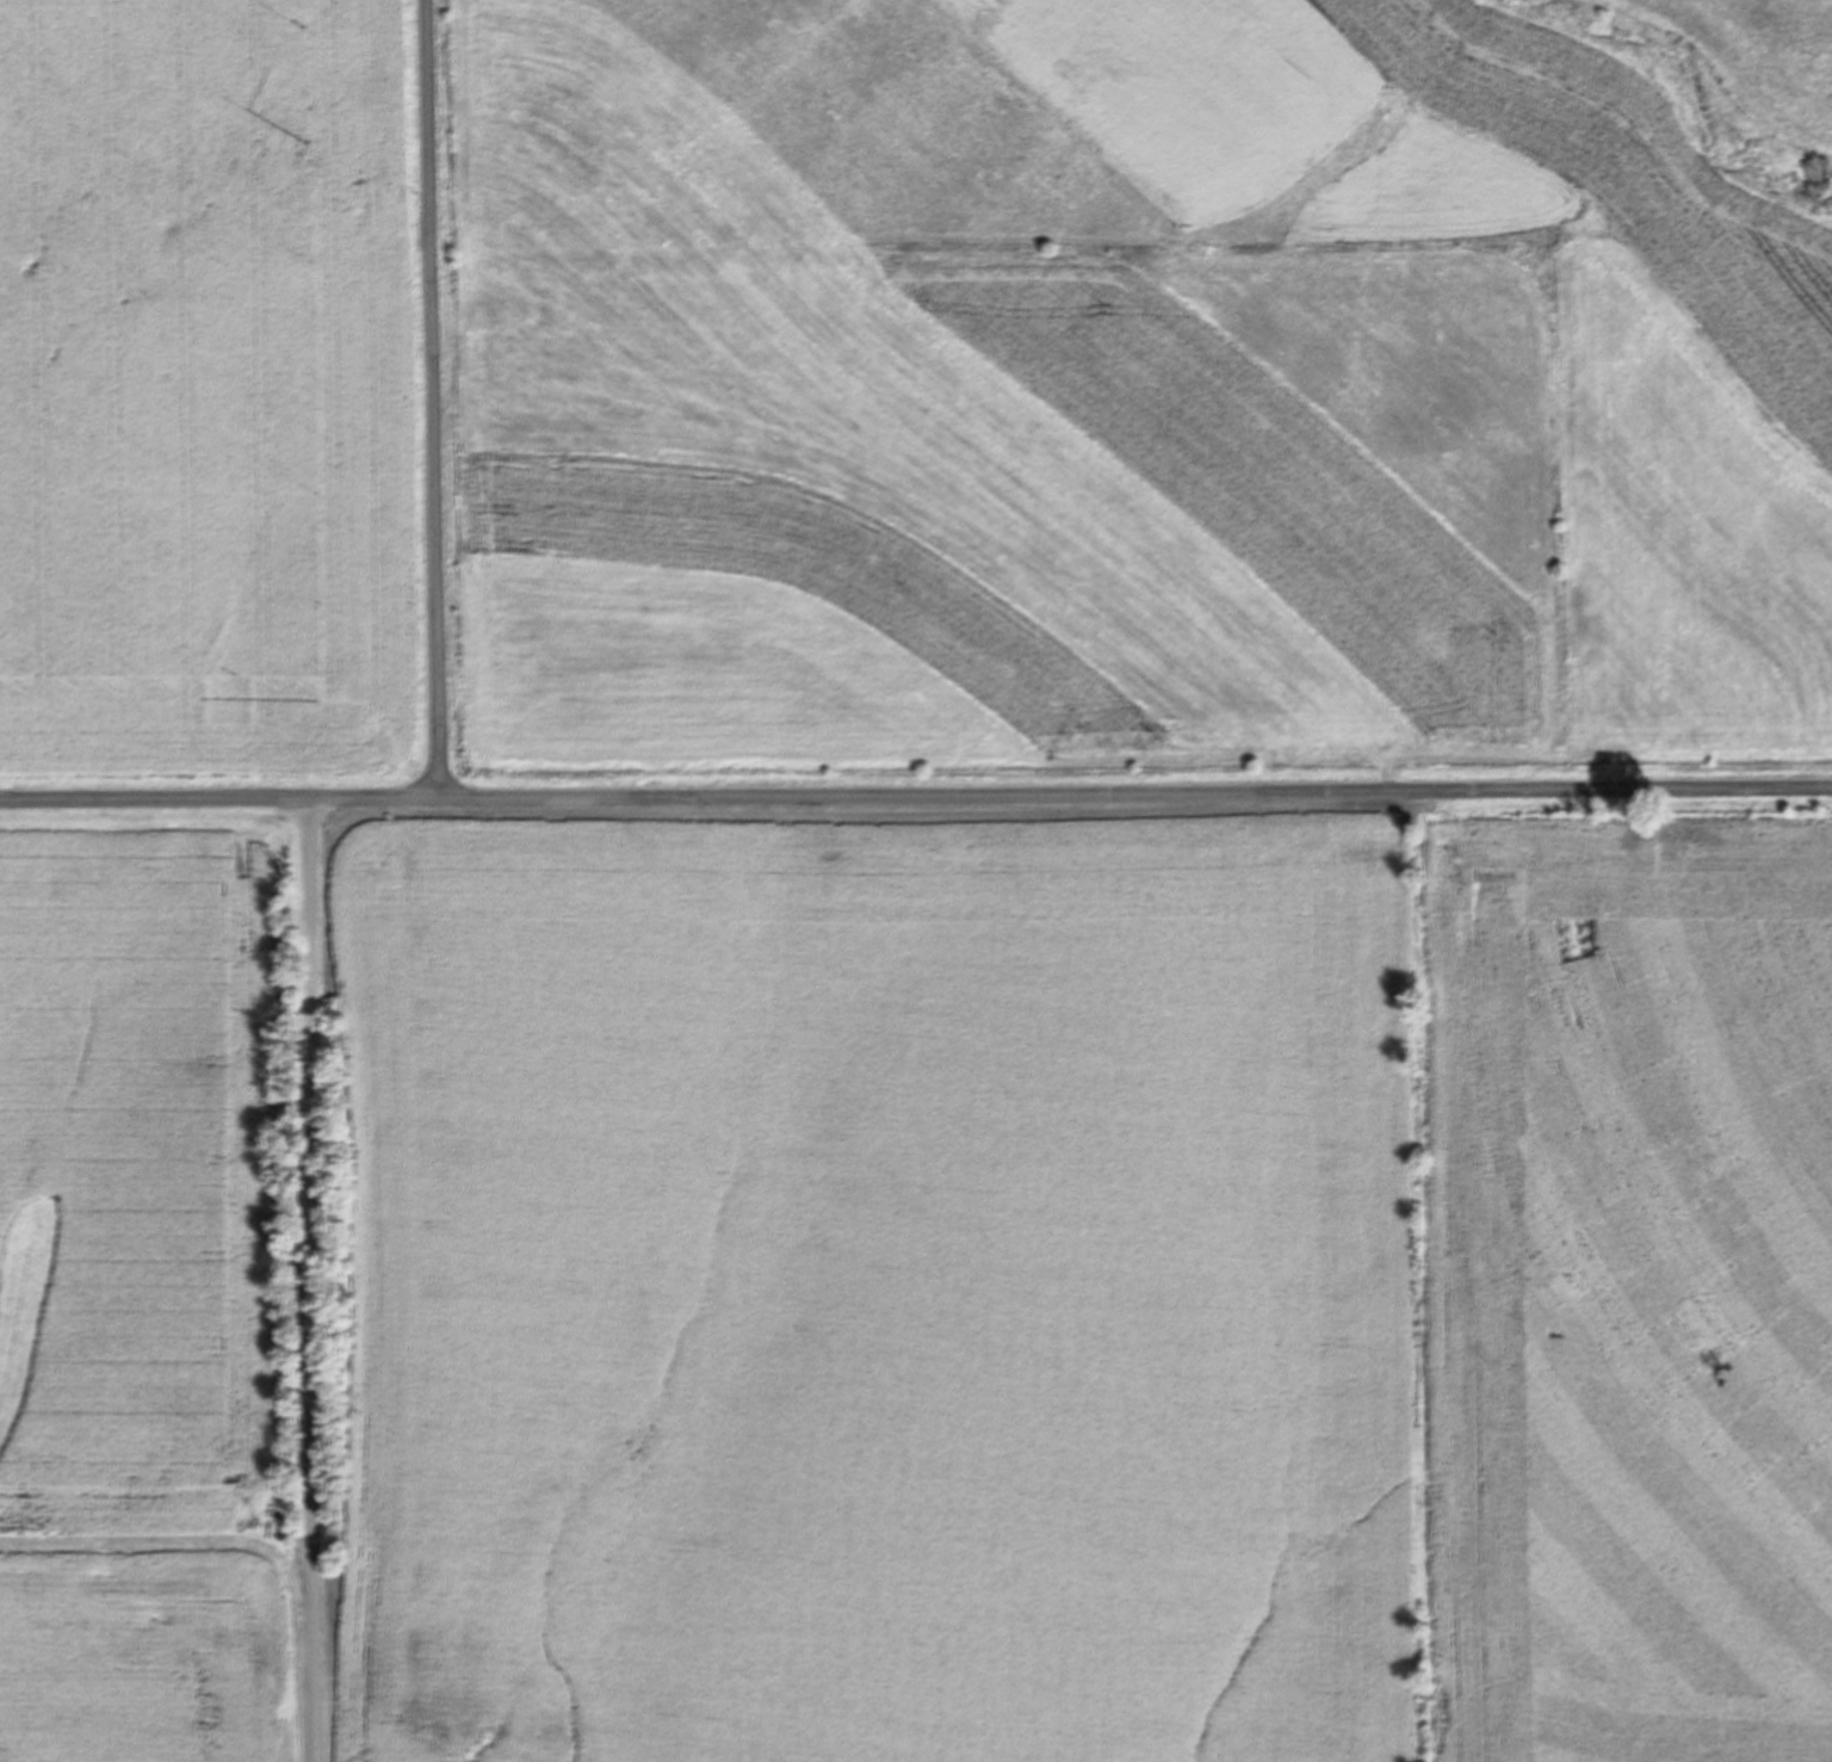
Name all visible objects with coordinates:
road: (437, 400)
road: (916, 797)
road: (316, 1281)

